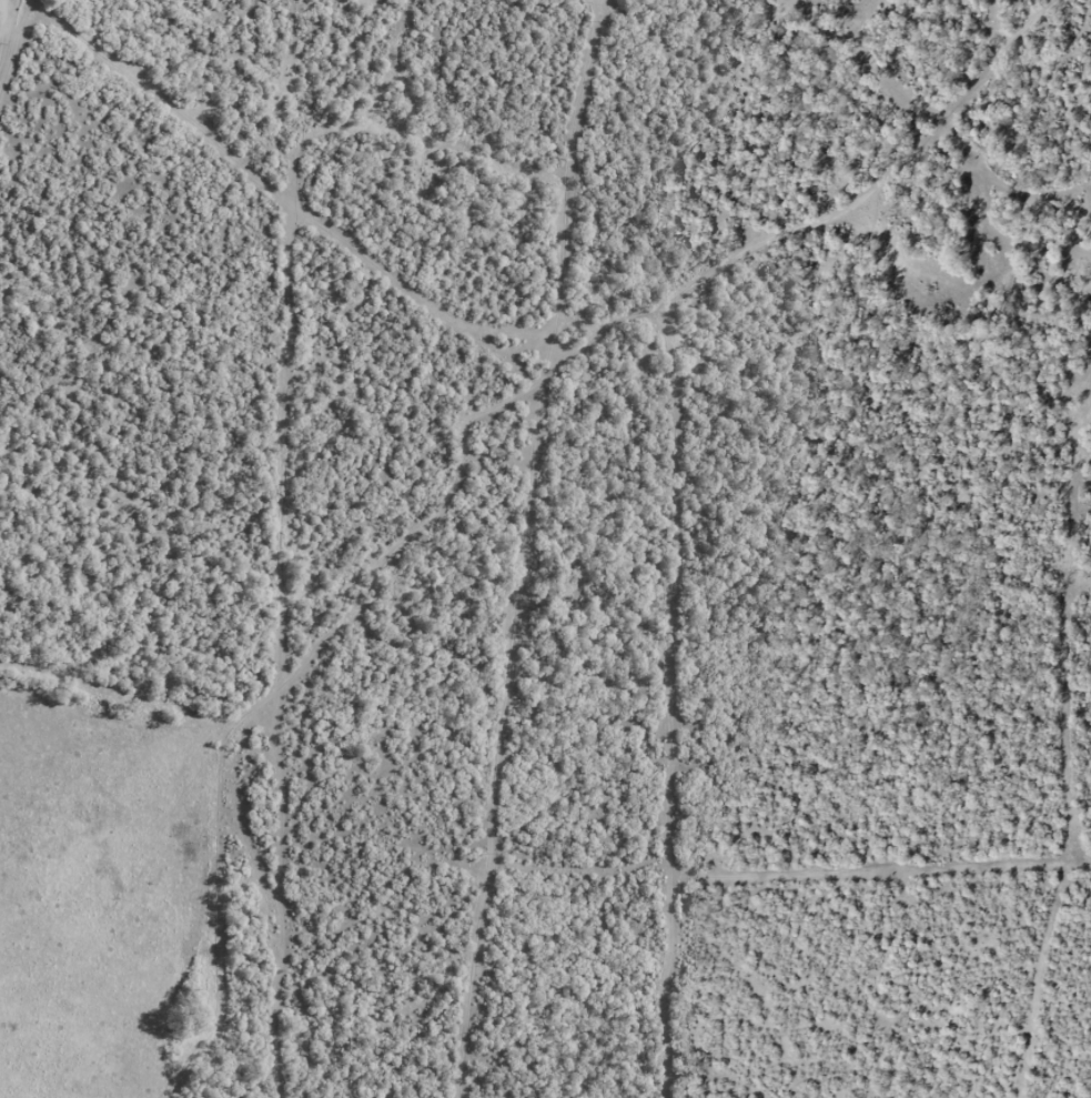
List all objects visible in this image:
road: (2, 37)

